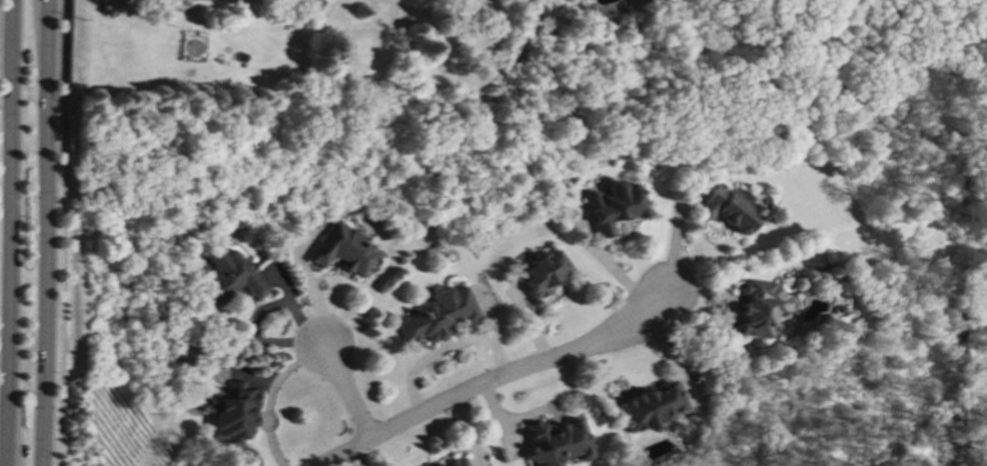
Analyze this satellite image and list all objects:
building: (235, 0)
building: (614, 206)
building: (728, 208)
road: (676, 228)
road: (9, 233)
road: (47, 233)
road: (62, 233)
building: (345, 249)
building: (543, 272)
building: (230, 275)
building: (759, 307)
building: (438, 315)
road: (444, 350)
road: (497, 378)
road: (345, 389)
road: (269, 395)
building: (654, 406)
road: (540, 411)
building: (233, 412)
building: (556, 442)
building: (456, 463)

